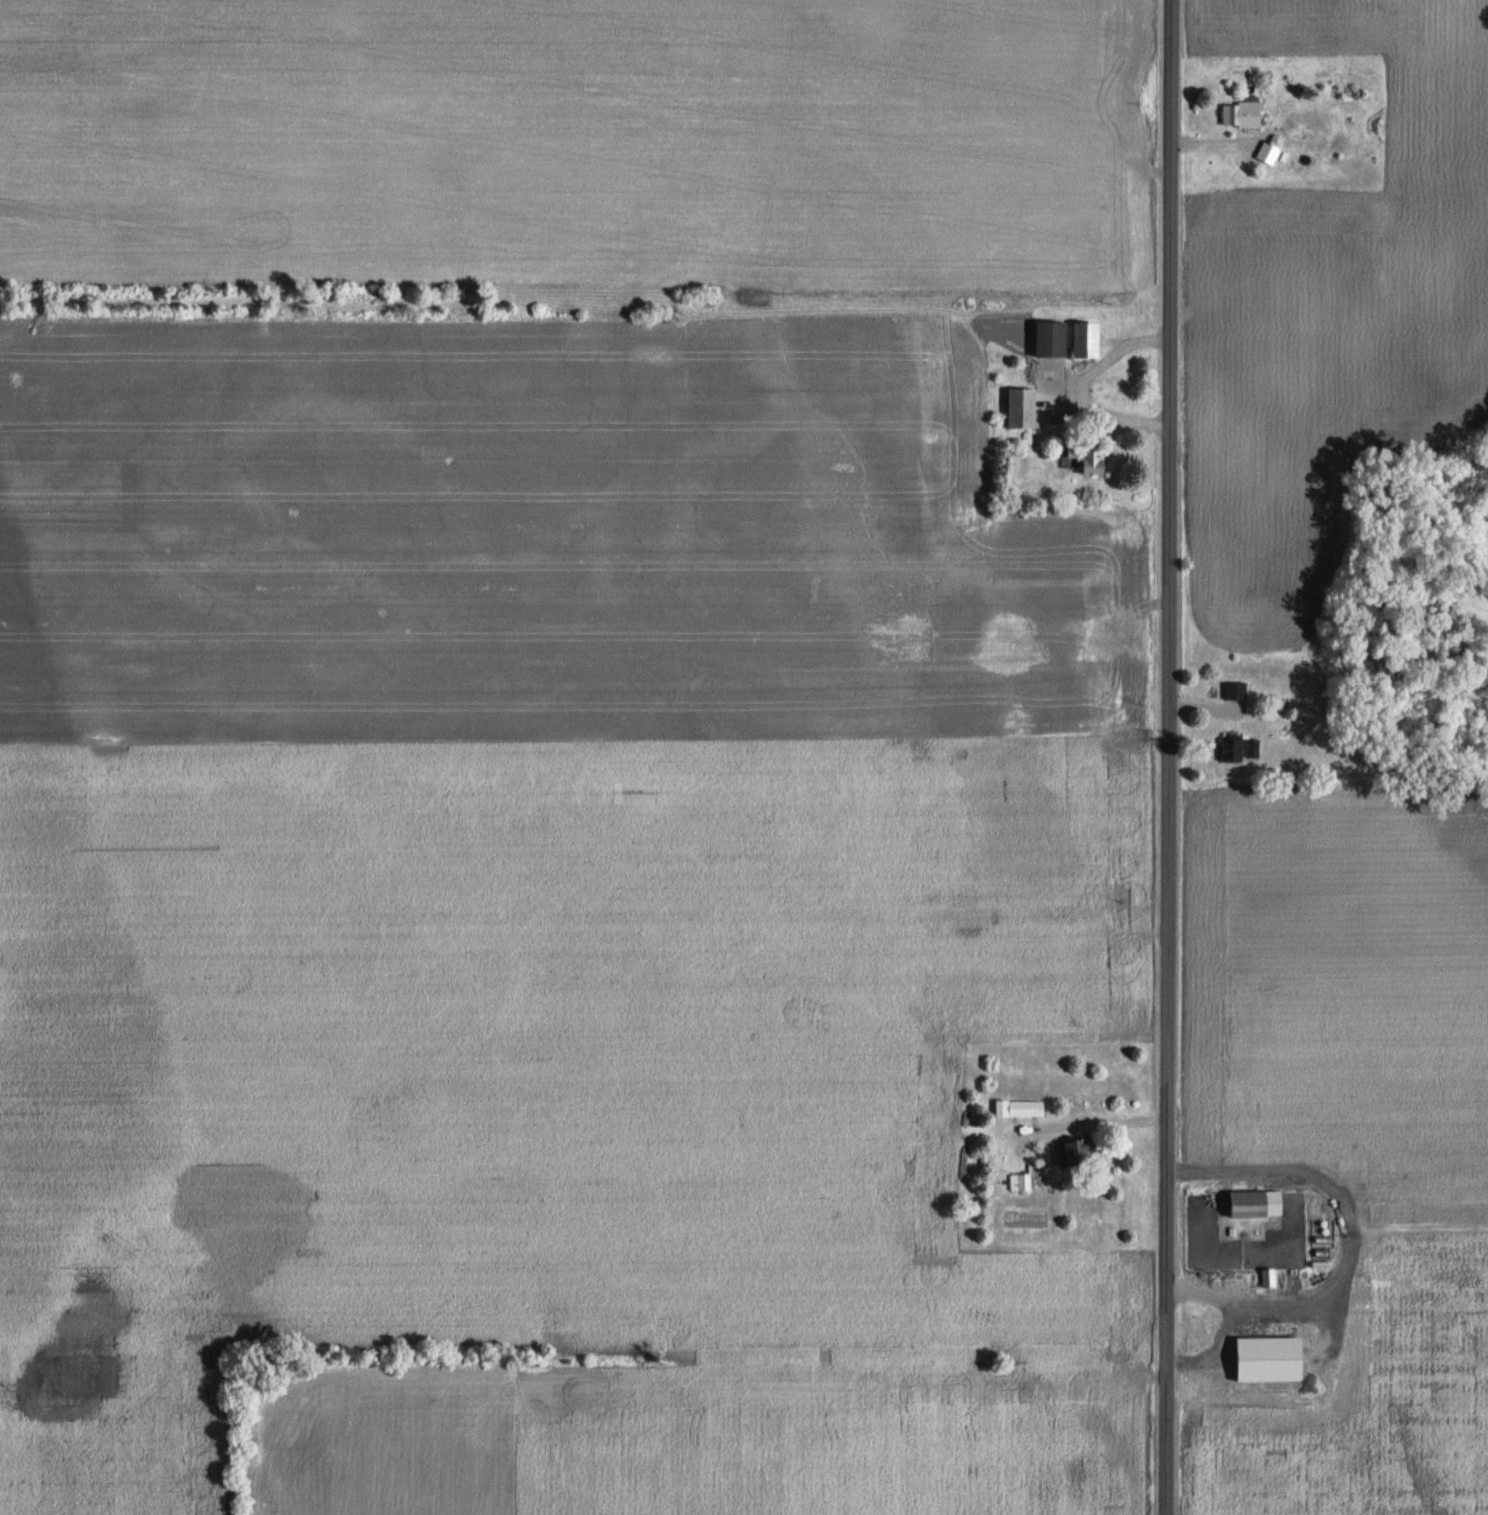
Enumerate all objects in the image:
building: (1242, 115)
building: (1268, 153)
building: (1051, 338)
building: (1088, 339)
building: (1023, 407)
building: (1092, 459)
building: (1235, 690)
building: (1240, 748)
road: (1168, 757)
building: (1020, 1107)
road: (1107, 1120)
building: (1070, 1152)
building: (1014, 1181)
building: (1257, 1203)
building: (1269, 1277)

